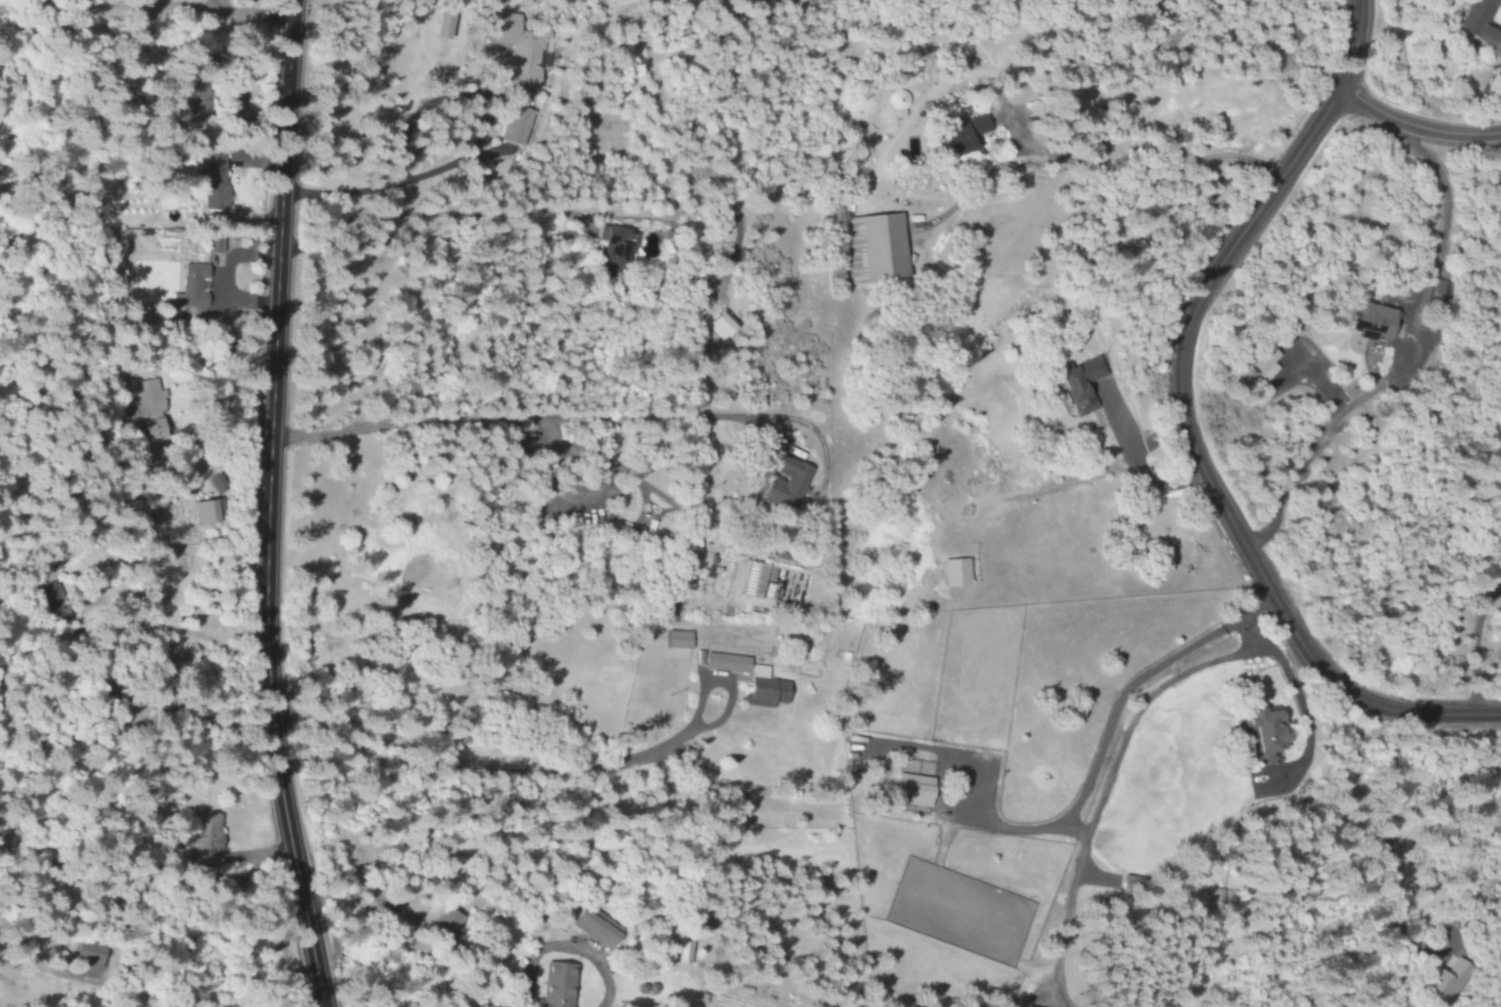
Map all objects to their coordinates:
road: (144, 4)
building: (1475, 20)
building: (440, 23)
building: (517, 52)
building: (975, 125)
building: (514, 126)
road: (1413, 126)
building: (951, 137)
building: (210, 181)
building: (211, 244)
building: (613, 245)
building: (871, 249)
building: (1437, 288)
building: (196, 291)
building: (717, 324)
building: (1363, 326)
building: (1260, 363)
building: (1075, 385)
building: (141, 405)
road: (1182, 426)
building: (783, 484)
road: (265, 505)
building: (202, 511)
building: (952, 573)
building: (674, 640)
building: (758, 680)
building: (1259, 731)
building: (909, 790)
building: (205, 840)
building: (443, 920)
building: (588, 925)
building: (680, 952)
building: (88, 954)
building: (1439, 982)
building: (553, 985)

